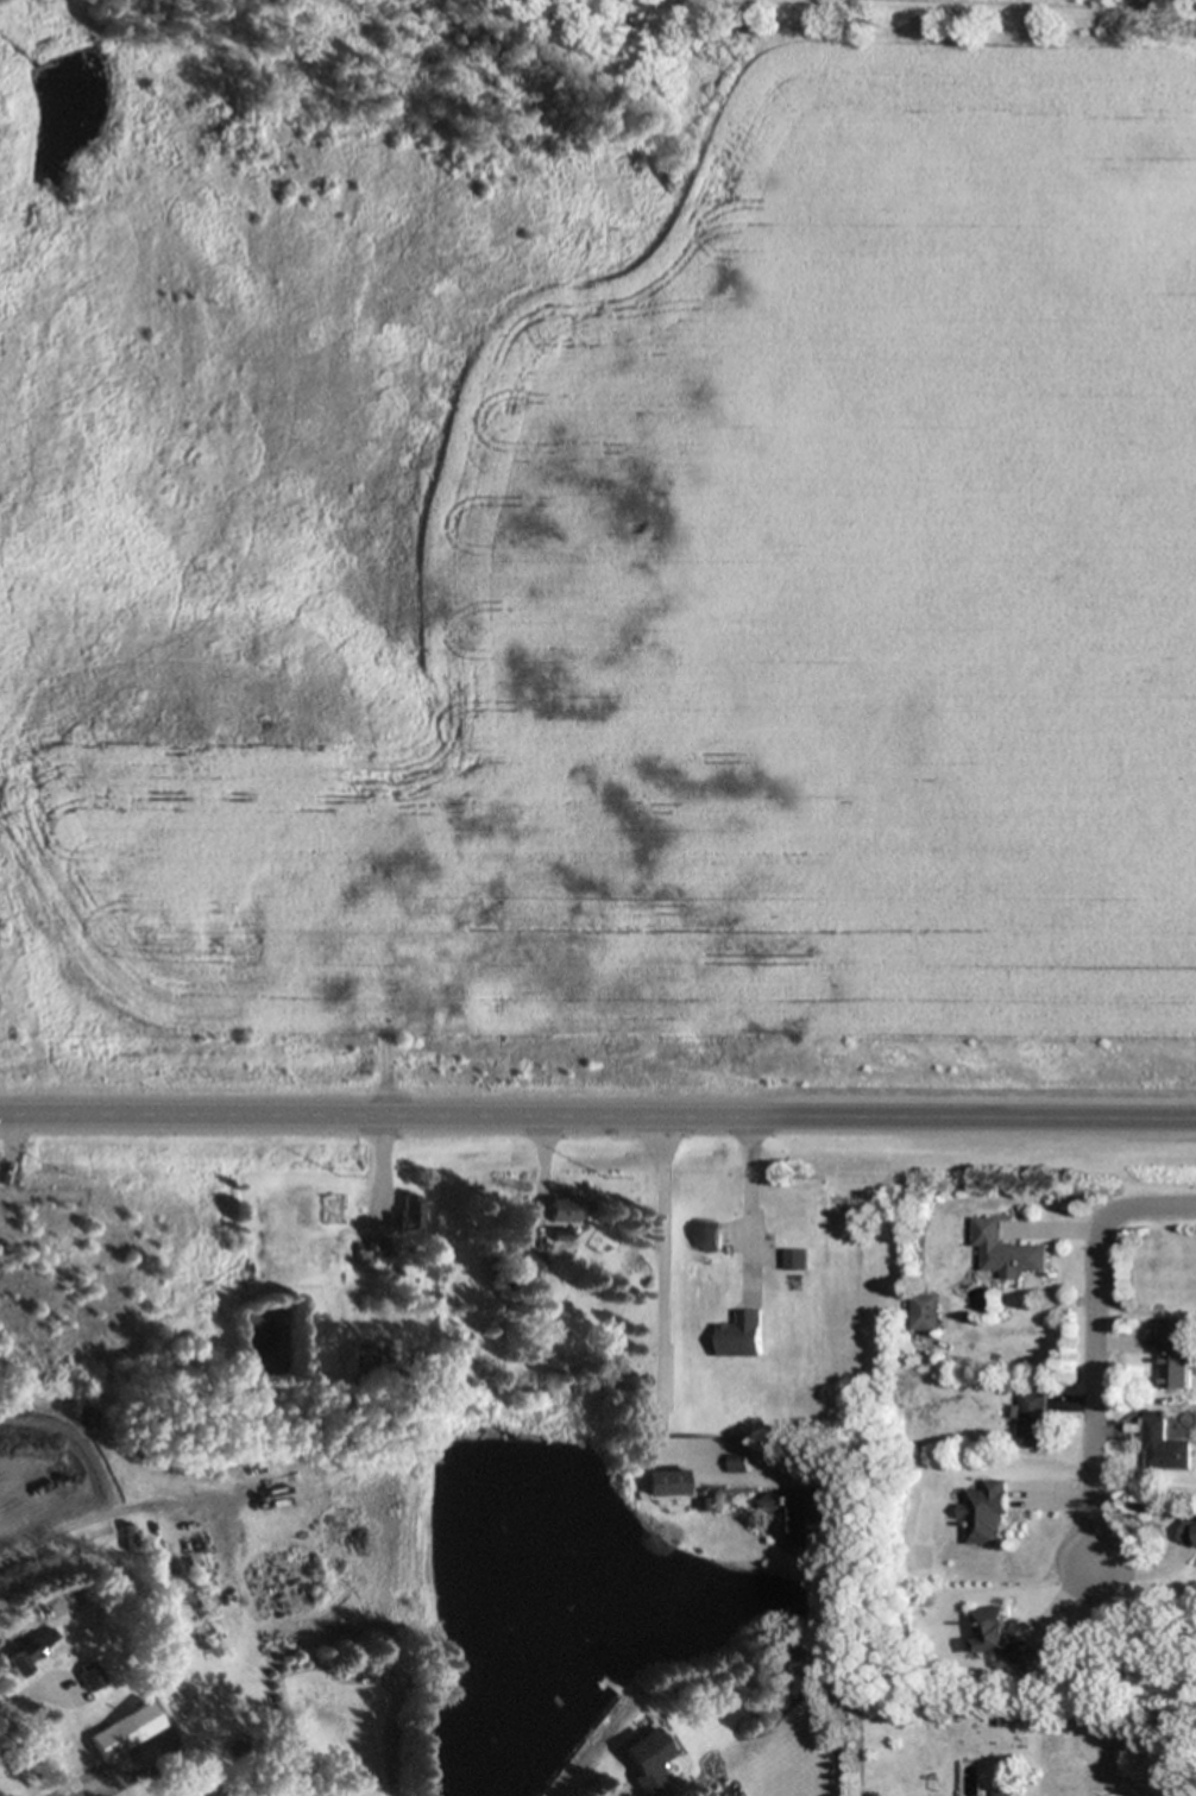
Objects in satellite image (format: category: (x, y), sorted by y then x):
crop: (594, 581)
road: (598, 1114)
building: (565, 1209)
building: (409, 1211)
building: (710, 1235)
building: (379, 1243)
building: (1007, 1253)
building: (797, 1258)
building: (522, 1260)
road: (661, 1284)
building: (926, 1313)
building: (743, 1335)
road: (1096, 1346)
building: (1175, 1354)
building: (364, 1355)
building: (1033, 1418)
building: (1165, 1447)
building: (739, 1463)
building: (667, 1481)
building: (986, 1512)
building: (799, 1514)
building: (1189, 1536)
building: (1003, 1639)
building: (31, 1651)
building: (90, 1676)
building: (130, 1727)
building: (650, 1759)
building: (999, 1794)

